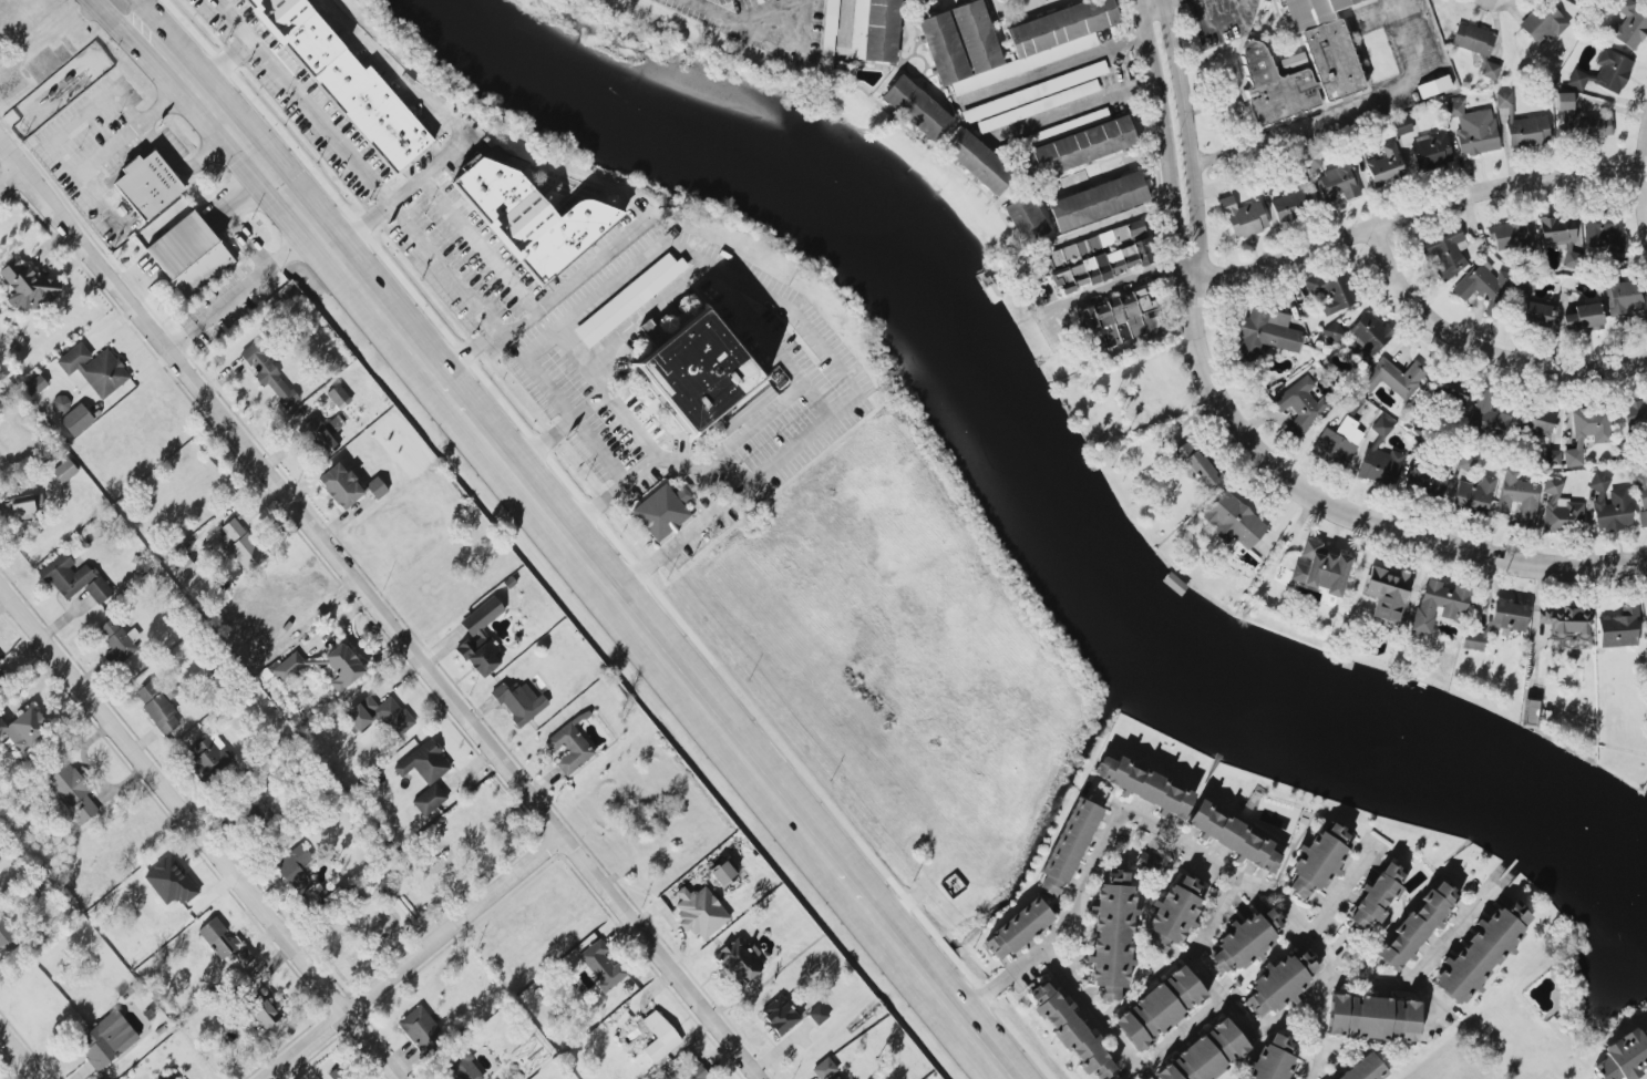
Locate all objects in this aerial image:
road: (1161, 1)
road: (1141, 3)
road: (1155, 3)
road: (141, 13)
road: (115, 18)
road: (738, 19)
building: (1543, 22)
road: (844, 24)
building: (1628, 24)
road: (1214, 27)
building: (831, 28)
building: (875, 30)
building: (1053, 40)
building: (1472, 40)
road: (218, 59)
building: (1328, 60)
building: (1293, 63)
road: (1058, 66)
building: (1490, 71)
building: (1604, 73)
building: (348, 82)
road: (404, 85)
building: (1433, 86)
building: (1034, 92)
building: (1038, 106)
building: (917, 109)
road: (1077, 109)
road: (1342, 111)
road: (81, 116)
building: (1582, 121)
building: (1523, 125)
road: (134, 126)
building: (1402, 126)
building: (1473, 130)
road: (1186, 133)
road: (1164, 137)
building: (1078, 148)
building: (1431, 151)
road: (167, 157)
building: (979, 162)
building: (1386, 166)
road: (354, 167)
road: (9, 178)
building: (1338, 183)
building: (147, 185)
road: (1640, 185)
road: (88, 186)
road: (237, 196)
road: (397, 196)
building: (1099, 202)
building: (1291, 206)
road: (1409, 216)
building: (526, 218)
building: (1243, 218)
building: (1026, 219)
building: (1605, 232)
building: (1507, 234)
building: (1561, 237)
road: (243, 242)
road: (473, 244)
building: (1444, 251)
building: (189, 255)
building: (1100, 257)
road: (1187, 277)
road: (137, 281)
road: (740, 282)
building: (1482, 282)
building: (1525, 287)
building: (31, 288)
road: (241, 290)
building: (1332, 290)
road: (1116, 291)
road: (545, 296)
building: (1626, 298)
building: (629, 299)
building: (1535, 315)
building: (1583, 318)
road: (751, 319)
building: (1116, 320)
building: (1267, 332)
building: (1334, 332)
building: (1370, 336)
road: (572, 346)
road: (1480, 353)
building: (94, 369)
building: (697, 371)
building: (268, 374)
building: (1393, 378)
building: (34, 386)
building: (1449, 393)
building: (339, 397)
building: (60, 404)
building: (1299, 407)
building: (1635, 413)
building: (1486, 415)
building: (76, 420)
building: (1536, 421)
road: (631, 422)
building: (1587, 432)
building: (318, 436)
building: (1338, 442)
road: (597, 450)
building: (1553, 458)
building: (1380, 460)
building: (1196, 465)
building: (64, 471)
building: (1427, 481)
building: (1598, 482)
building: (340, 485)
building: (375, 489)
building: (1473, 496)
building: (1641, 496)
building: (1519, 497)
building: (27, 504)
building: (1561, 508)
building: (661, 511)
building: (1613, 511)
road: (1352, 520)
building: (1234, 521)
road: (610, 536)
building: (240, 545)
road: (577, 549)
road: (665, 551)
building: (184, 567)
building: (1320, 568)
building: (74, 578)
building: (1386, 593)
building: (1438, 605)
road: (379, 614)
building: (1507, 616)
building: (1566, 627)
building: (1619, 627)
building: (277, 633)
building: (481, 638)
building: (117, 641)
building: (1472, 641)
building: (288, 666)
building: (343, 667)
building: (1, 676)
building: (519, 702)
building: (157, 708)
building: (1530, 712)
building: (380, 716)
building: (25, 729)
building: (570, 749)
building: (210, 756)
building: (424, 763)
building: (1143, 787)
building: (71, 790)
building: (429, 799)
road: (198, 833)
building: (1234, 836)
road: (1171, 839)
building: (1067, 849)
building: (1147, 860)
building: (1318, 861)
building: (295, 869)
building: (722, 873)
building: (169, 882)
park: (422, 886)
road: (1338, 893)
building: (1377, 896)
building: (699, 912)
building: (1172, 915)
building: (1416, 926)
building: (1016, 929)
building: (1111, 936)
building: (4, 937)
road: (1196, 941)
building: (224, 943)
building: (1243, 944)
building: (1481, 952)
road: (411, 957)
building: (739, 959)
building: (601, 966)
road: (1057, 972)
road: (1377, 980)
building: (1279, 984)
road: (1224, 1004)
building: (1159, 1009)
building: (263, 1011)
building: (781, 1014)
building: (817, 1015)
building: (1372, 1018)
building: (420, 1028)
building: (1069, 1032)
building: (660, 1036)
building: (104, 1042)
building: (1206, 1055)
road: (18, 1056)
building: (1624, 1056)
building: (1272, 1060)
building: (462, 1067)
building: (691, 1068)
building: (824, 1069)
building: (1363, 1069)
building: (334, 1077)
building: (835, 1077)
road: (1646, 1078)

